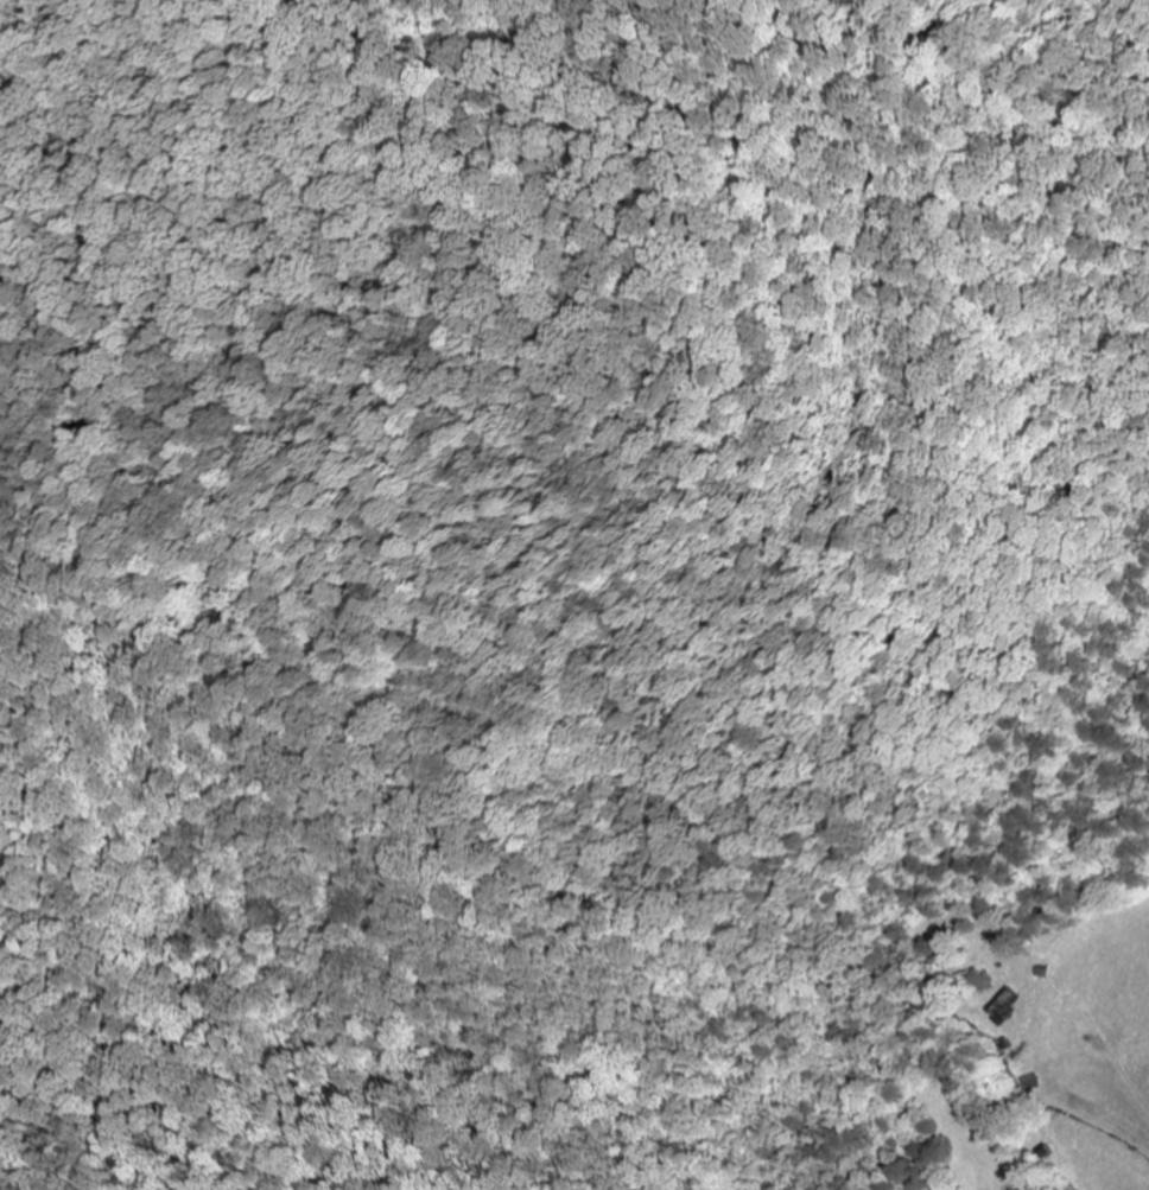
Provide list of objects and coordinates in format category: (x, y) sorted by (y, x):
building: (1007, 1004)

